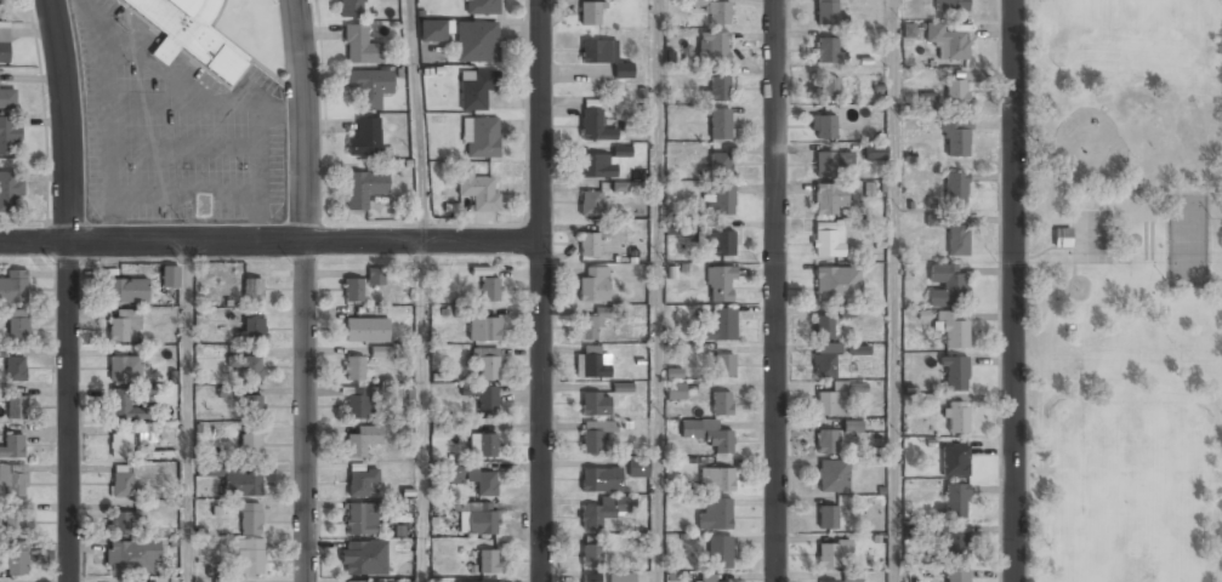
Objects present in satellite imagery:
building: (1, 2)
building: (950, 6)
building: (481, 7)
building: (351, 8)
building: (716, 12)
building: (826, 12)
building: (590, 13)
building: (908, 29)
building: (432, 30)
building: (192, 34)
building: (476, 41)
building: (945, 41)
building: (359, 45)
building: (712, 46)
building: (829, 50)
building: (4, 52)
building: (603, 56)
building: (369, 86)
building: (474, 89)
building: (717, 89)
building: (828, 89)
building: (956, 93)
building: (7, 98)
building: (927, 102)
road: (415, 120)
building: (720, 124)
building: (593, 125)
building: (824, 127)
building: (8, 135)
building: (364, 138)
building: (481, 138)
building: (956, 139)
building: (874, 152)
building: (718, 164)
building: (832, 164)
building: (597, 166)
building: (363, 188)
building: (955, 189)
building: (478, 190)
building: (10, 192)
building: (829, 200)
building: (718, 201)
building: (590, 204)
road: (1053, 204)
building: (936, 219)
building: (1062, 238)
building: (826, 240)
building: (957, 240)
building: (1187, 241)
park: (1187, 241)
road: (268, 242)
building: (718, 242)
building: (589, 245)
building: (375, 276)
building: (169, 278)
building: (593, 284)
building: (720, 284)
building: (836, 285)
building: (947, 285)
building: (13, 286)
road: (1052, 287)
road: (68, 290)
building: (252, 290)
road: (303, 290)
building: (353, 290)
building: (489, 290)
park: (1126, 290)
building: (126, 291)
road: (538, 291)
road: (657, 291)
road: (775, 291)
road: (894, 291)
road: (1014, 291)
road: (1027, 291)
building: (15, 313)
building: (123, 324)
building: (720, 325)
building: (589, 327)
building: (823, 327)
building: (16, 329)
building: (252, 329)
building: (366, 330)
building: (483, 330)
building: (953, 331)
building: (858, 349)
building: (1, 352)
building: (381, 352)
building: (824, 360)
building: (591, 364)
building: (488, 365)
building: (245, 366)
building: (723, 366)
building: (15, 369)
building: (124, 369)
building: (354, 369)
building: (955, 373)
building: (675, 390)
building: (484, 400)
building: (831, 400)
building: (358, 403)
building: (595, 404)
building: (721, 404)
building: (123, 406)
building: (252, 406)
building: (16, 407)
road: (422, 411)
road: (187, 412)
building: (955, 417)
building: (852, 426)
building: (146, 433)
building: (595, 434)
building: (360, 440)
building: (250, 441)
building: (718, 441)
building: (825, 441)
building: (119, 445)
building: (487, 445)
building: (12, 446)
building: (954, 458)
building: (638, 468)
building: (832, 475)
building: (473, 478)
building: (13, 479)
building: (601, 479)
building: (718, 479)
building: (362, 481)
building: (121, 483)
building: (241, 484)
building: (955, 501)
building: (604, 510)
building: (714, 512)
building: (828, 518)
building: (250, 519)
building: (360, 519)
building: (477, 519)
building: (15, 521)
building: (125, 523)
building: (955, 542)
building: (718, 550)
building: (832, 553)
building: (591, 555)
building: (246, 557)
building: (132, 558)
building: (16, 559)
building: (364, 559)
building: (487, 560)
building: (956, 575)
building: (707, 577)
building: (852, 577)
building: (591, 578)
building: (621, 578)
building: (222, 580)
building: (359, 581)
building: (399, 581)
building: (477, 581)
building: (824, 581)

